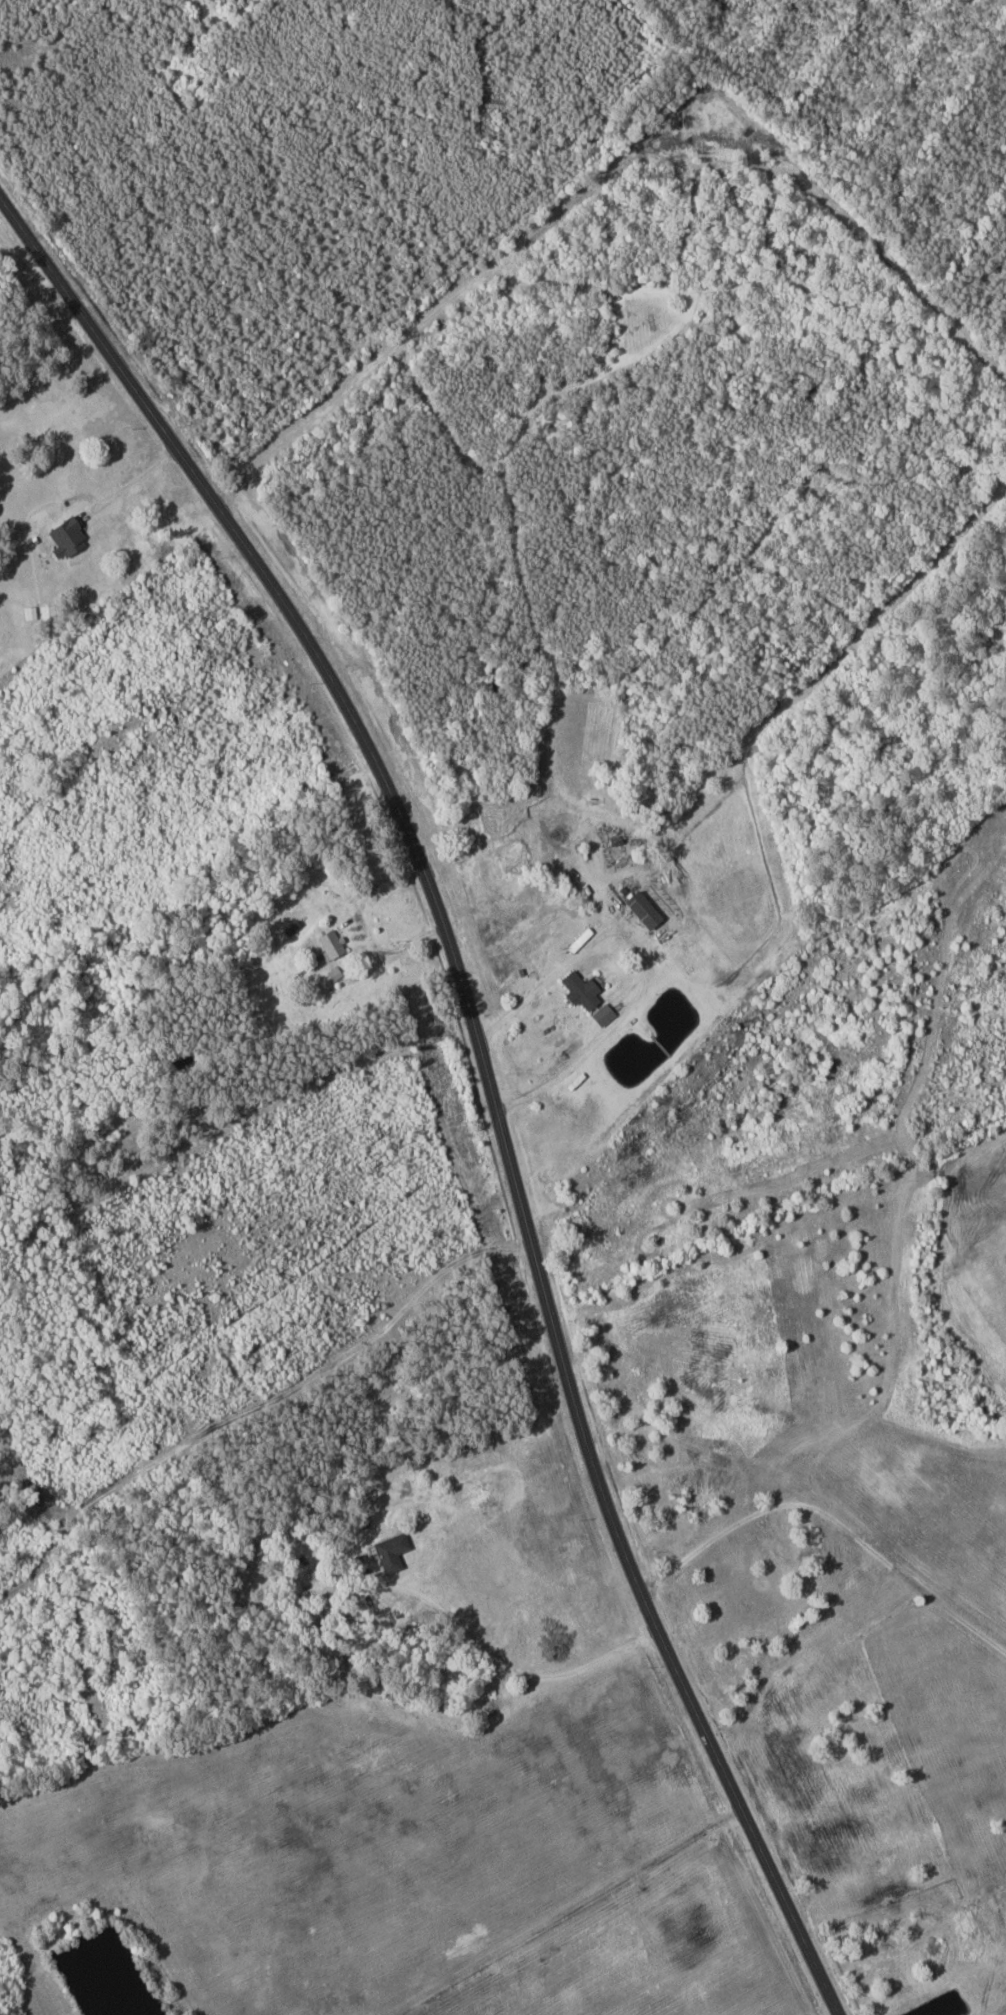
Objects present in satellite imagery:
building: (68, 537)
building: (644, 910)
building: (331, 944)
building: (583, 990)
road: (487, 1071)
road: (453, 1438)
building: (781, 1538)
building: (392, 1551)

